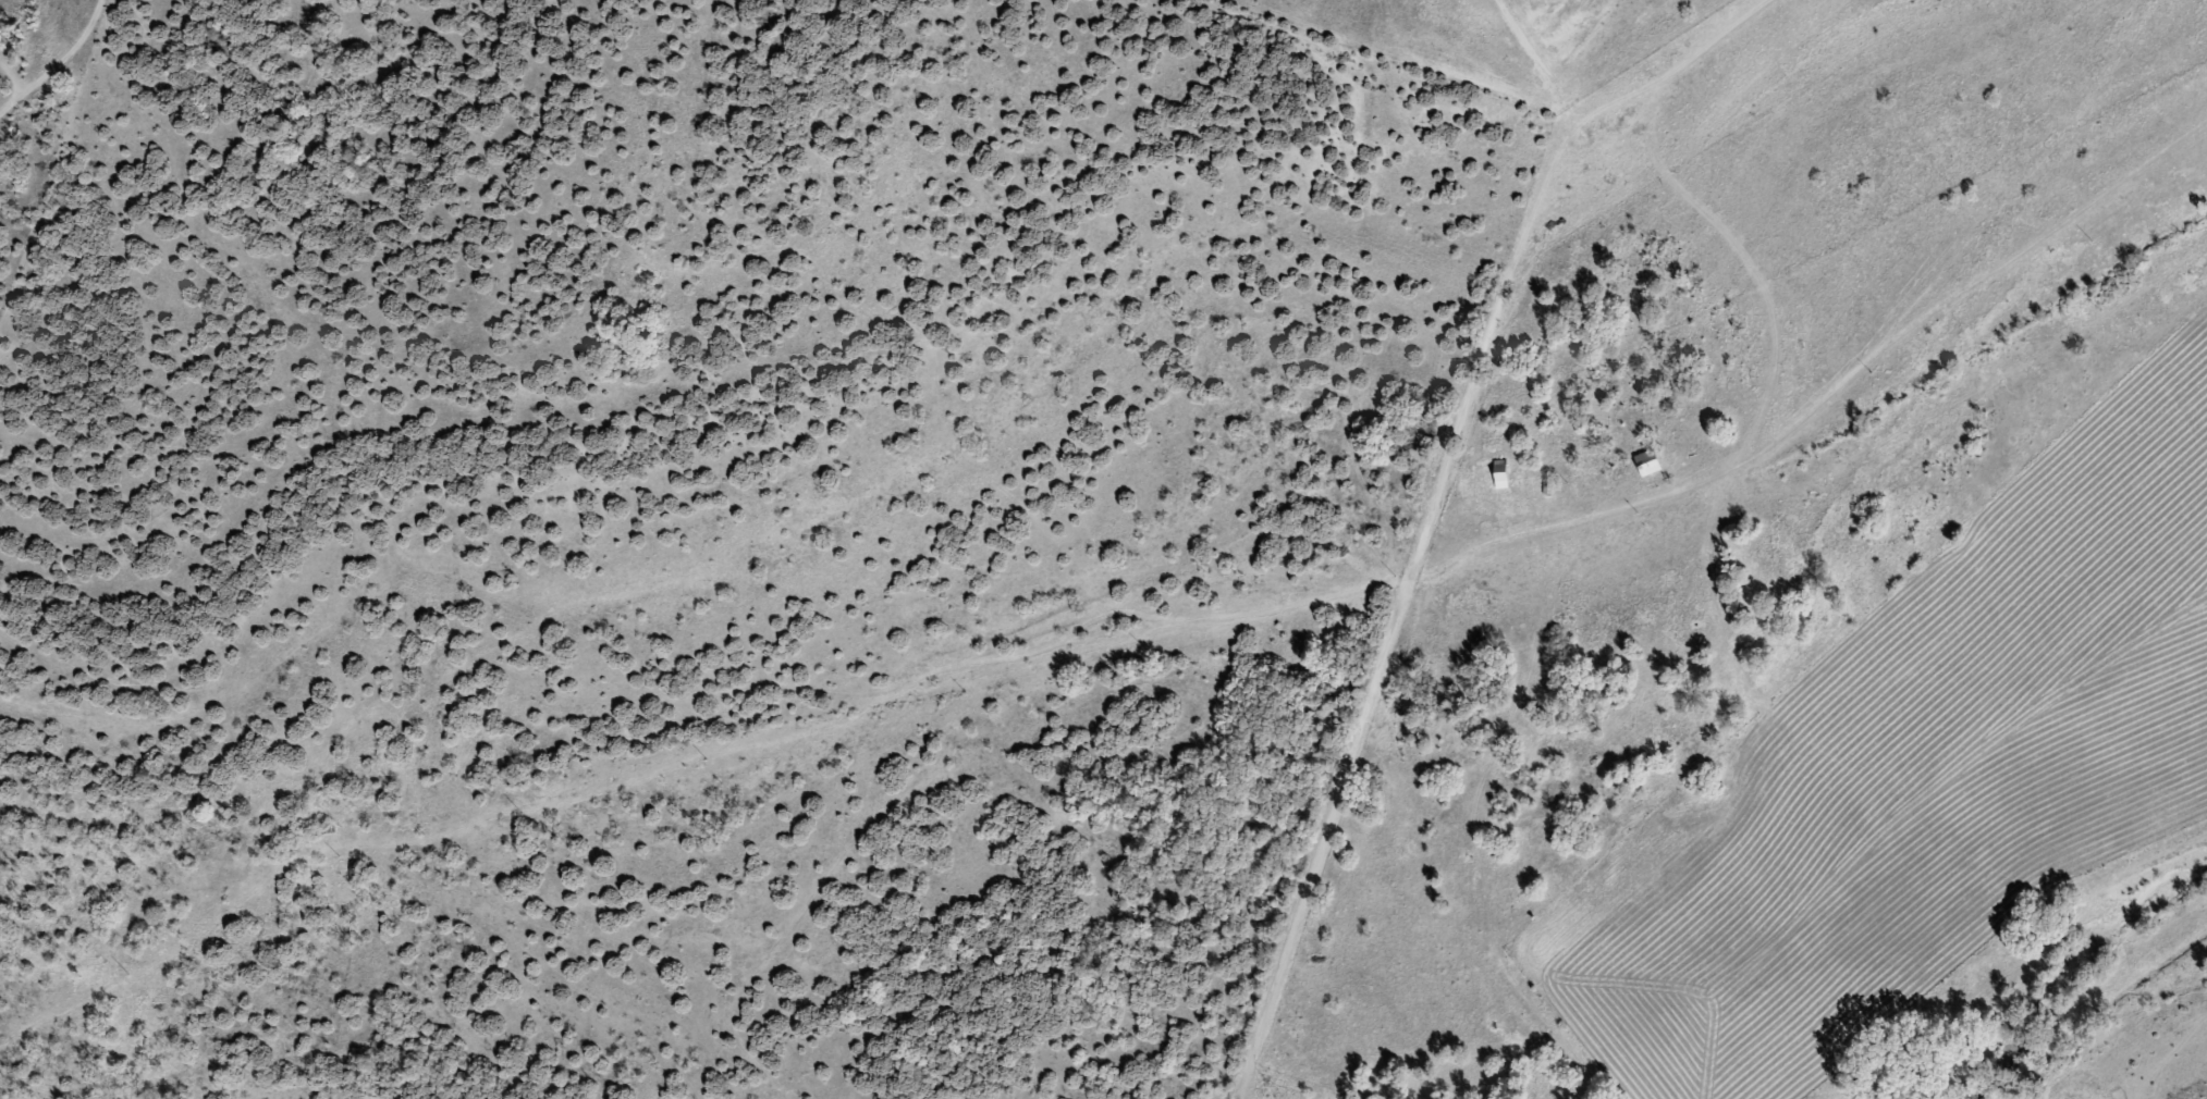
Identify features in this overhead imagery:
road: (1574, 269)
building: (1650, 465)
building: (1501, 482)
road: (1167, 634)
road: (246, 956)

